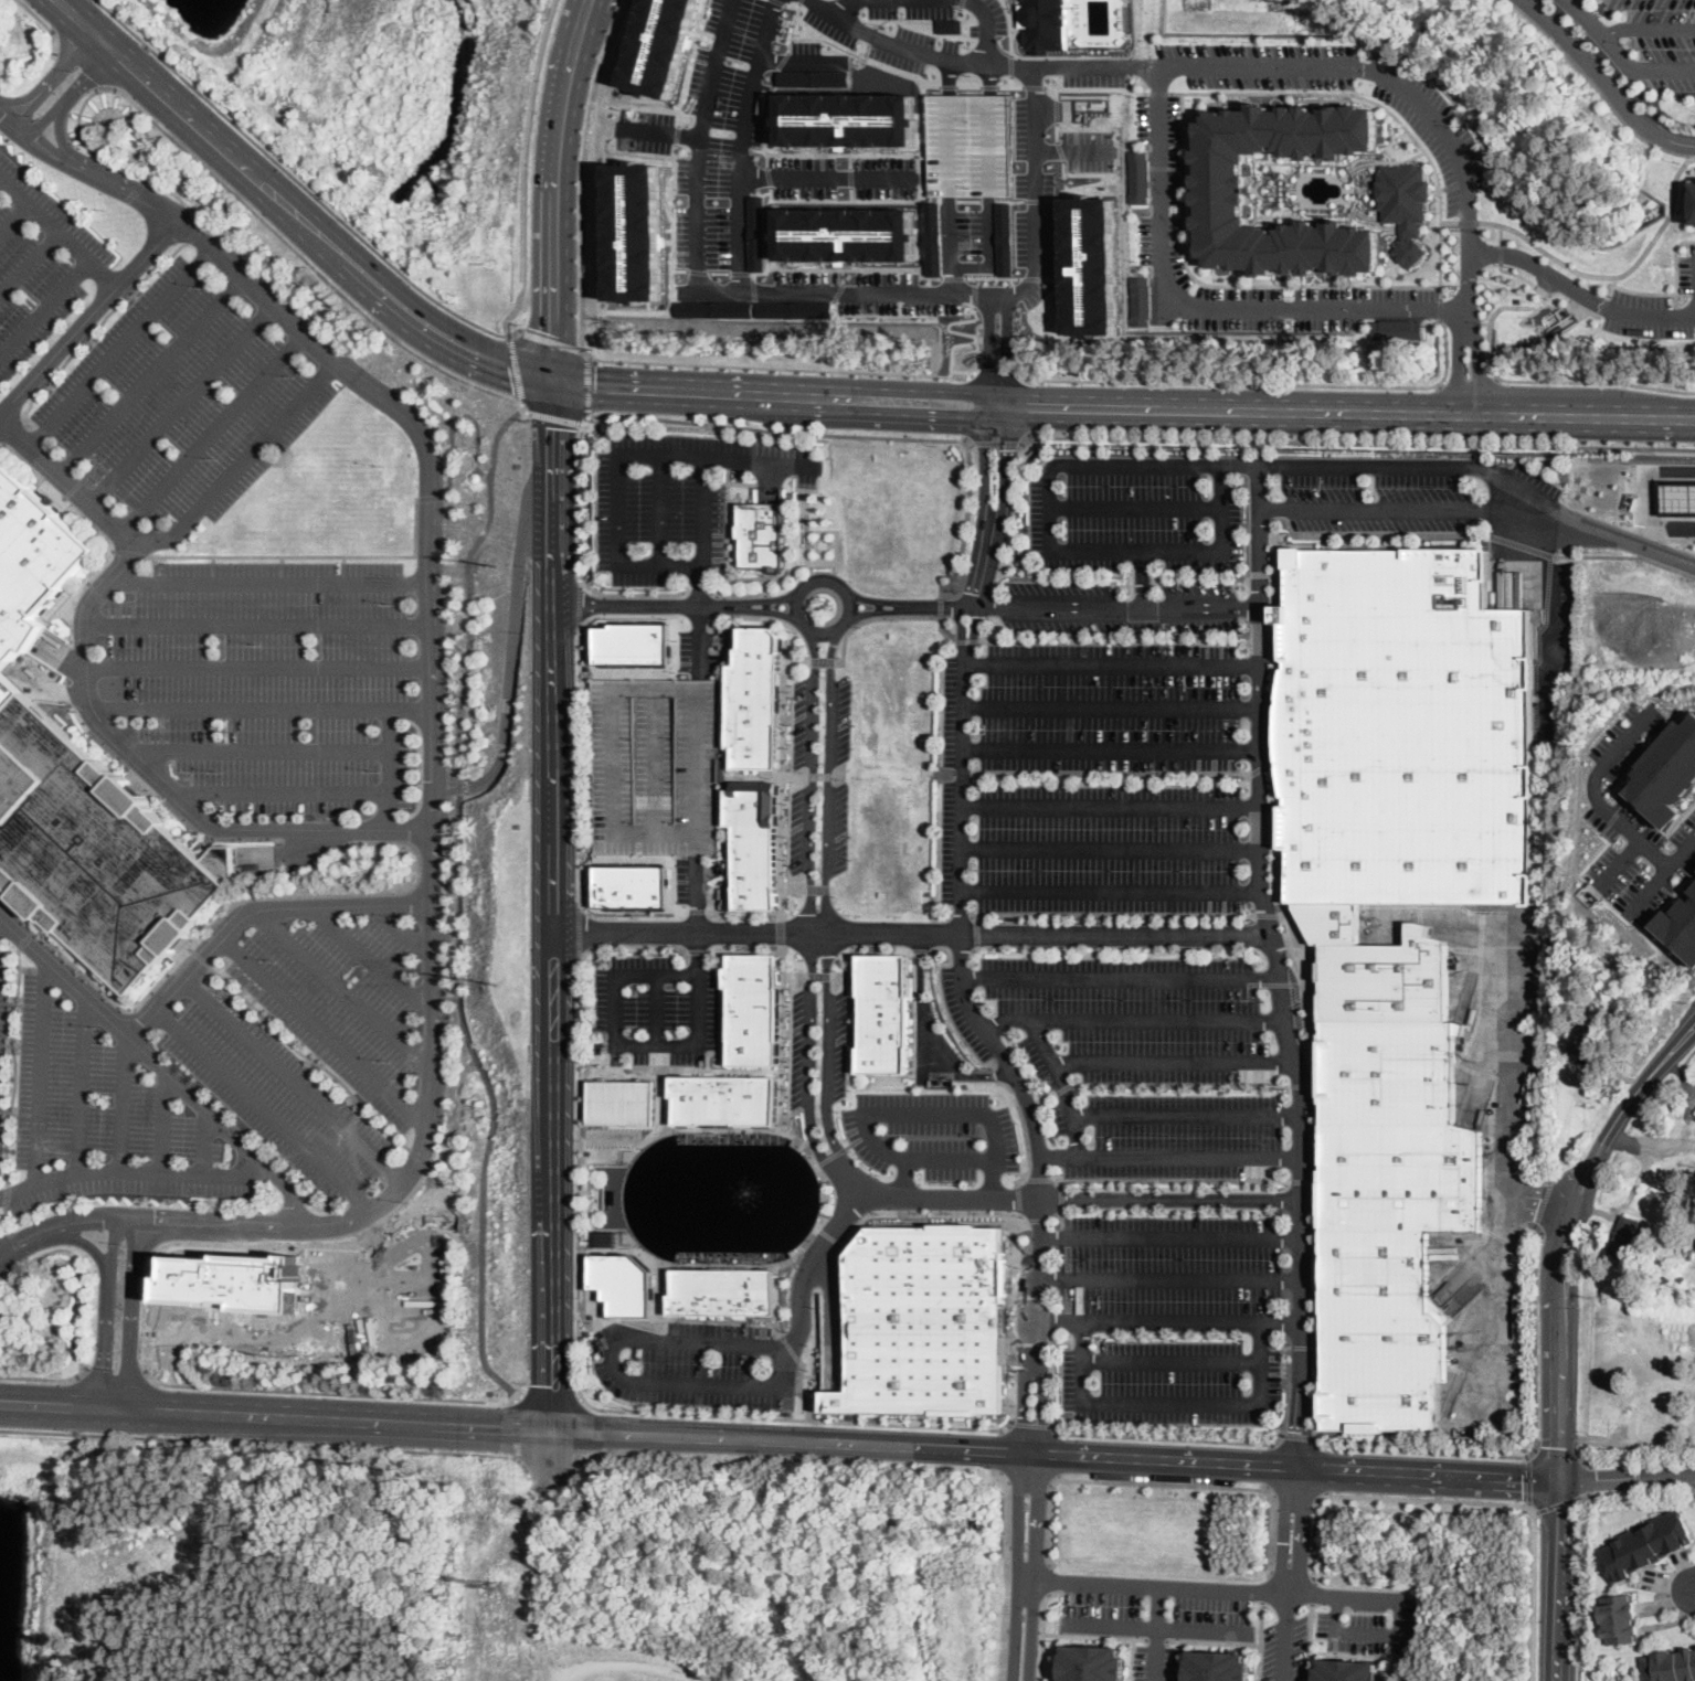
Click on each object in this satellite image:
road: (1568, 0)
road: (834, 3)
road: (583, 7)
road: (45, 24)
building: (1048, 25)
road: (994, 29)
road: (1646, 29)
parking lot: (1661, 39)
building: (658, 45)
road: (1620, 58)
road: (70, 61)
road: (83, 62)
road: (1278, 67)
road: (85, 74)
road: (1603, 83)
road: (1597, 87)
road: (1159, 91)
road: (1137, 92)
road: (22, 96)
road: (1384, 103)
road: (30, 107)
road: (7, 117)
road: (45, 119)
building: (848, 119)
road: (59, 129)
road: (22, 130)
parking lot: (1447, 131)
road: (657, 132)
road: (739, 143)
building: (970, 145)
parking garage: (970, 145)
road: (46, 148)
road: (527, 167)
road: (582, 170)
parking lot: (1165, 172)
building: (1140, 175)
road: (827, 178)
road: (304, 182)
road: (230, 187)
building: (1223, 189)
road: (552, 194)
building: (1408, 205)
road: (293, 209)
road: (12, 216)
road: (1451, 220)
road: (1470, 220)
road: (197, 228)
building: (634, 232)
road: (1502, 232)
building: (754, 233)
building: (845, 234)
road: (57, 235)
building: (933, 237)
building: (1005, 238)
road: (956, 249)
road: (1502, 252)
road: (1677, 259)
road: (28, 263)
parking lot: (39, 265)
building: (1091, 265)
parking lot: (1687, 273)
road: (1617, 275)
road: (1221, 284)
road: (1613, 285)
road: (1652, 290)
road: (1548, 291)
road: (829, 292)
road: (1580, 292)
road: (1546, 297)
building: (1140, 300)
road: (1603, 305)
road: (1194, 307)
road: (43, 308)
road: (1441, 309)
road: (91, 316)
parking lot: (1650, 316)
road: (100, 325)
building: (1399, 329)
road: (549, 339)
road: (121, 345)
road: (987, 348)
road: (1006, 348)
road: (516, 366)
road: (777, 366)
road: (995, 372)
road: (153, 375)
traffic signals: (551, 380)
road: (1539, 380)
road: (1262, 381)
road: (1468, 382)
road: (572, 383)
road: (587, 383)
parking lot: (181, 400)
road: (182, 402)
road: (1029, 404)
road: (457, 414)
road: (1576, 416)
road: (552, 417)
road: (1689, 419)
road: (214, 433)
road: (861, 434)
road: (1353, 440)
road: (994, 441)
road: (642, 453)
road: (758, 460)
road: (985, 462)
road: (1007, 464)
road: (1070, 465)
road: (241, 466)
road: (1490, 469)
road: (1652, 485)
building: (767, 493)
parking lot: (1423, 493)
building: (1678, 493)
road: (428, 496)
road: (580, 496)
parking lot: (679, 499)
road: (1138, 506)
road: (660, 507)
road: (1416, 508)
road: (1674, 521)
parking lot: (1137, 528)
building: (760, 533)
road: (820, 533)
road: (1380, 533)
road: (1521, 543)
road: (809, 544)
road: (830, 544)
road: (805, 549)
road: (819, 550)
road: (128, 551)
road: (1226, 551)
road: (308, 554)
road: (1627, 555)
road: (819, 557)
power tower: (496, 563)
road: (100, 565)
road: (791, 571)
road: (469, 579)
road: (1142, 579)
road: (272, 581)
road: (699, 593)
road: (629, 595)
road: (745, 595)
road: (769, 599)
road: (871, 600)
road: (579, 604)
road: (646, 606)
road: (716, 606)
road: (940, 606)
road: (1080, 607)
road: (770, 610)
road: (870, 613)
road: (668, 614)
road: (1547, 616)
parking lot: (1561, 617)
road: (889, 618)
road: (758, 619)
road: (699, 623)
road: (258, 626)
road: (812, 631)
road: (507, 641)
road: (966, 641)
building: (633, 642)
road: (1114, 642)
road: (699, 643)
road: (1262, 643)
road: (795, 662)
road: (822, 663)
road: (1113, 664)
road: (258, 668)
parking lot: (272, 679)
building: (755, 700)
road: (1112, 707)
road: (261, 710)
road: (99, 721)
road: (431, 726)
building: (1405, 732)
road: (275, 748)
road: (1112, 751)
parking lot: (1100, 756)
building: (656, 767)
parking garage: (656, 767)
road: (1262, 768)
building: (1666, 772)
road: (1111, 774)
parking lot: (819, 775)
road: (838, 775)
road: (796, 776)
road: (819, 776)
road: (813, 779)
road: (827, 779)
road: (453, 783)
building: (82, 788)
road: (303, 794)
road: (1112, 805)
road: (1606, 810)
road: (385, 812)
road: (783, 813)
road: (580, 822)
parking lot: (1631, 826)
building: (755, 843)
road: (1111, 848)
road: (1630, 877)
road: (552, 881)
building: (632, 885)
road: (796, 889)
road: (820, 890)
road: (1113, 892)
road: (698, 893)
road: (698, 911)
road: (962, 915)
road: (1115, 915)
road: (220, 916)
road: (1270, 916)
road: (783, 917)
road: (975, 918)
road: (945, 921)
building: (1678, 924)
road: (578, 928)
road: (400, 933)
road: (913, 933)
road: (783, 934)
road: (978, 935)
road: (28, 939)
road: (632, 944)
road: (963, 948)
road: (745, 950)
road: (922, 950)
road: (974, 950)
road: (697, 951)
road: (962, 951)
road: (880, 953)
road: (204, 955)
road: (203, 957)
road: (371, 960)
road: (1279, 967)
building: (1383, 969)
road: (796, 977)
road: (1122, 977)
road: (820, 978)
power tower: (496, 983)
road: (1269, 986)
road: (343, 990)
road: (1693, 991)
parking lot: (341, 999)
road: (945, 1004)
parking lot: (657, 1006)
road: (656, 1009)
building: (752, 1010)
parking lot: (3, 1012)
parking lot: (963, 1012)
road: (1159, 1017)
building: (884, 1018)
road: (1007, 1020)
road: (325, 1034)
building: (1587, 1035)
road: (783, 1038)
road: (924, 1042)
road: (634, 1045)
parking lot: (802, 1045)
parking lot: (834, 1045)
road: (827, 1052)
road: (310, 1057)
road: (811, 1057)
parking lot: (1148, 1060)
road: (1175, 1060)
road: (15, 1066)
road: (159, 1066)
road: (998, 1076)
road: (295, 1082)
road: (78, 1084)
road: (1183, 1086)
road: (1303, 1087)
road: (1066, 1088)
road: (41, 1093)
parking lot: (92, 1094)
parking lot: (280, 1095)
road: (489, 1098)
road: (1048, 1098)
building: (622, 1102)
building: (724, 1102)
road: (9, 1110)
road: (264, 1111)
road: (454, 1111)
building: (1694, 1113)
road: (923, 1114)
road: (1189, 1116)
road: (161, 1121)
parking lot: (933, 1132)
road: (1024, 1132)
road: (201, 1141)
parking lot: (1, 1142)
road: (1651, 1142)
road: (851, 1147)
road: (1119, 1153)
road: (420, 1155)
road: (835, 1157)
road: (950, 1159)
road: (624, 1162)
road: (1503, 1167)
road: (150, 1170)
road: (856, 1177)
road: (1550, 1179)
road: (1038, 1180)
road: (1170, 1182)
road: (1302, 1182)
road: (1056, 1184)
parking lot: (135, 1189)
road: (7, 1194)
road: (1017, 1198)
road: (1060, 1200)
road: (1082, 1201)
road: (1543, 1201)
road: (1537, 1202)
road: (928, 1212)
road: (1055, 1216)
building: (1388, 1216)
road: (6, 1217)
road: (1060, 1217)
road: (1039, 1221)
road: (85, 1223)
road: (1568, 1232)
road: (162, 1235)
road: (13, 1237)
road: (834, 1237)
road: (82, 1238)
building: (1625, 1238)
road: (1170, 1241)
road: (18, 1244)
road: (133, 1244)
road: (110, 1246)
road: (20, 1251)
road: (819, 1254)
parking lot: (1169, 1263)
road: (1169, 1278)
building: (232, 1279)
building: (1663, 1279)
building: (1680, 1279)
road: (82, 1280)
building: (624, 1283)
road: (339, 1287)
building: (723, 1294)
road: (664, 1298)
road: (781, 1300)
parking lot: (1511, 1319)
building: (926, 1321)
road: (1168, 1321)
road: (1534, 1326)
road: (129, 1338)
road: (105, 1340)
road: (373, 1342)
road: (791, 1349)
road: (611, 1360)
road: (1169, 1361)
parking lot: (698, 1362)
road: (46, 1375)
road: (115, 1375)
road: (1581, 1376)
parking lot: (1170, 1380)
road: (330, 1390)
road: (797, 1390)
road: (551, 1393)
road: (51, 1403)
road: (1169, 1403)
road: (1024, 1406)
road: (1040, 1406)
road: (551, 1407)
road: (678, 1409)
parking lot: (1496, 1409)
road: (326, 1418)
building: (1645, 1421)
road: (1029, 1424)
road: (516, 1426)
road: (1125, 1434)
road: (1296, 1434)
road: (261, 1441)
road: (1422, 1449)
road: (1557, 1454)
road: (1056, 1455)
road: (1265, 1464)
road: (1322, 1468)
road: (1585, 1477)
road: (1628, 1477)
road: (1528, 1479)
traffic signals: (1560, 1480)
road: (1028, 1481)
road: (1159, 1481)
road: (1694, 1490)
road: (1294, 1497)
road: (1472, 1500)
road: (1556, 1502)
road: (1580, 1528)
road: (1281, 1529)
road: (1299, 1530)
building: (1645, 1544)
road: (1015, 1566)
road: (1032, 1567)
road: (1004, 1573)
road: (1049, 1577)
road: (1559, 1581)
power tower: (496, 1585)
road: (1264, 1586)
road: (1206, 1587)
road: (1310, 1588)
road: (1694, 1588)
road: (1155, 1605)
parking lot: (1155, 1614)
parking lot: (1366, 1619)
building: (1619, 1619)
road: (1105, 1624)
road: (1040, 1628)
road: (1201, 1628)
road: (1364, 1631)
road: (1091, 1634)
road: (1284, 1636)
road: (1152, 1637)
road: (1210, 1640)
road: (1259, 1640)
road: (1307, 1641)
parking lot: (1283, 1649)
road: (1153, 1653)
road: (1356, 1653)
road: (1130, 1658)
road: (1176, 1660)
parking lot: (1153, 1662)
building: (1091, 1663)
building: (1216, 1666)
building: (1670, 1666)
building: (1346, 1670)
building: (1613, 1678)

